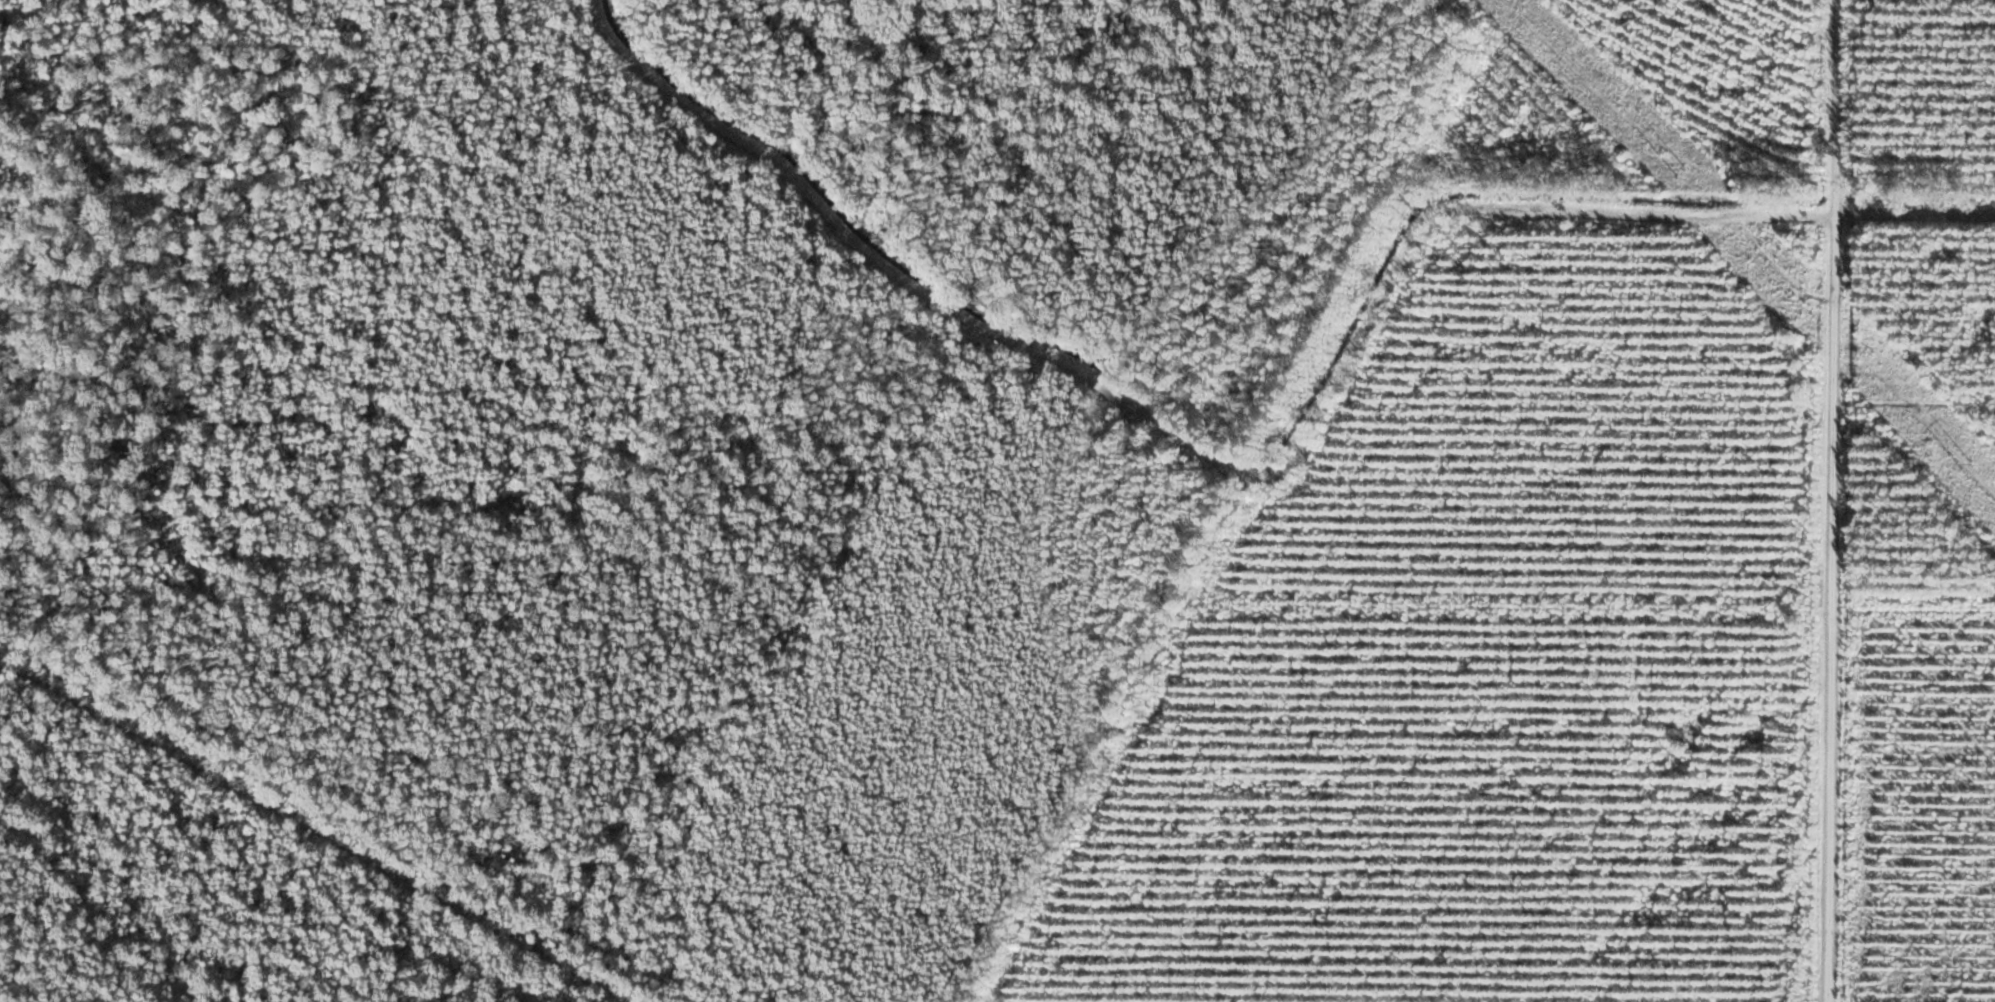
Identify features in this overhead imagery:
power tower: (1686, 174)
power tower: (1968, 466)
road: (1889, 501)

